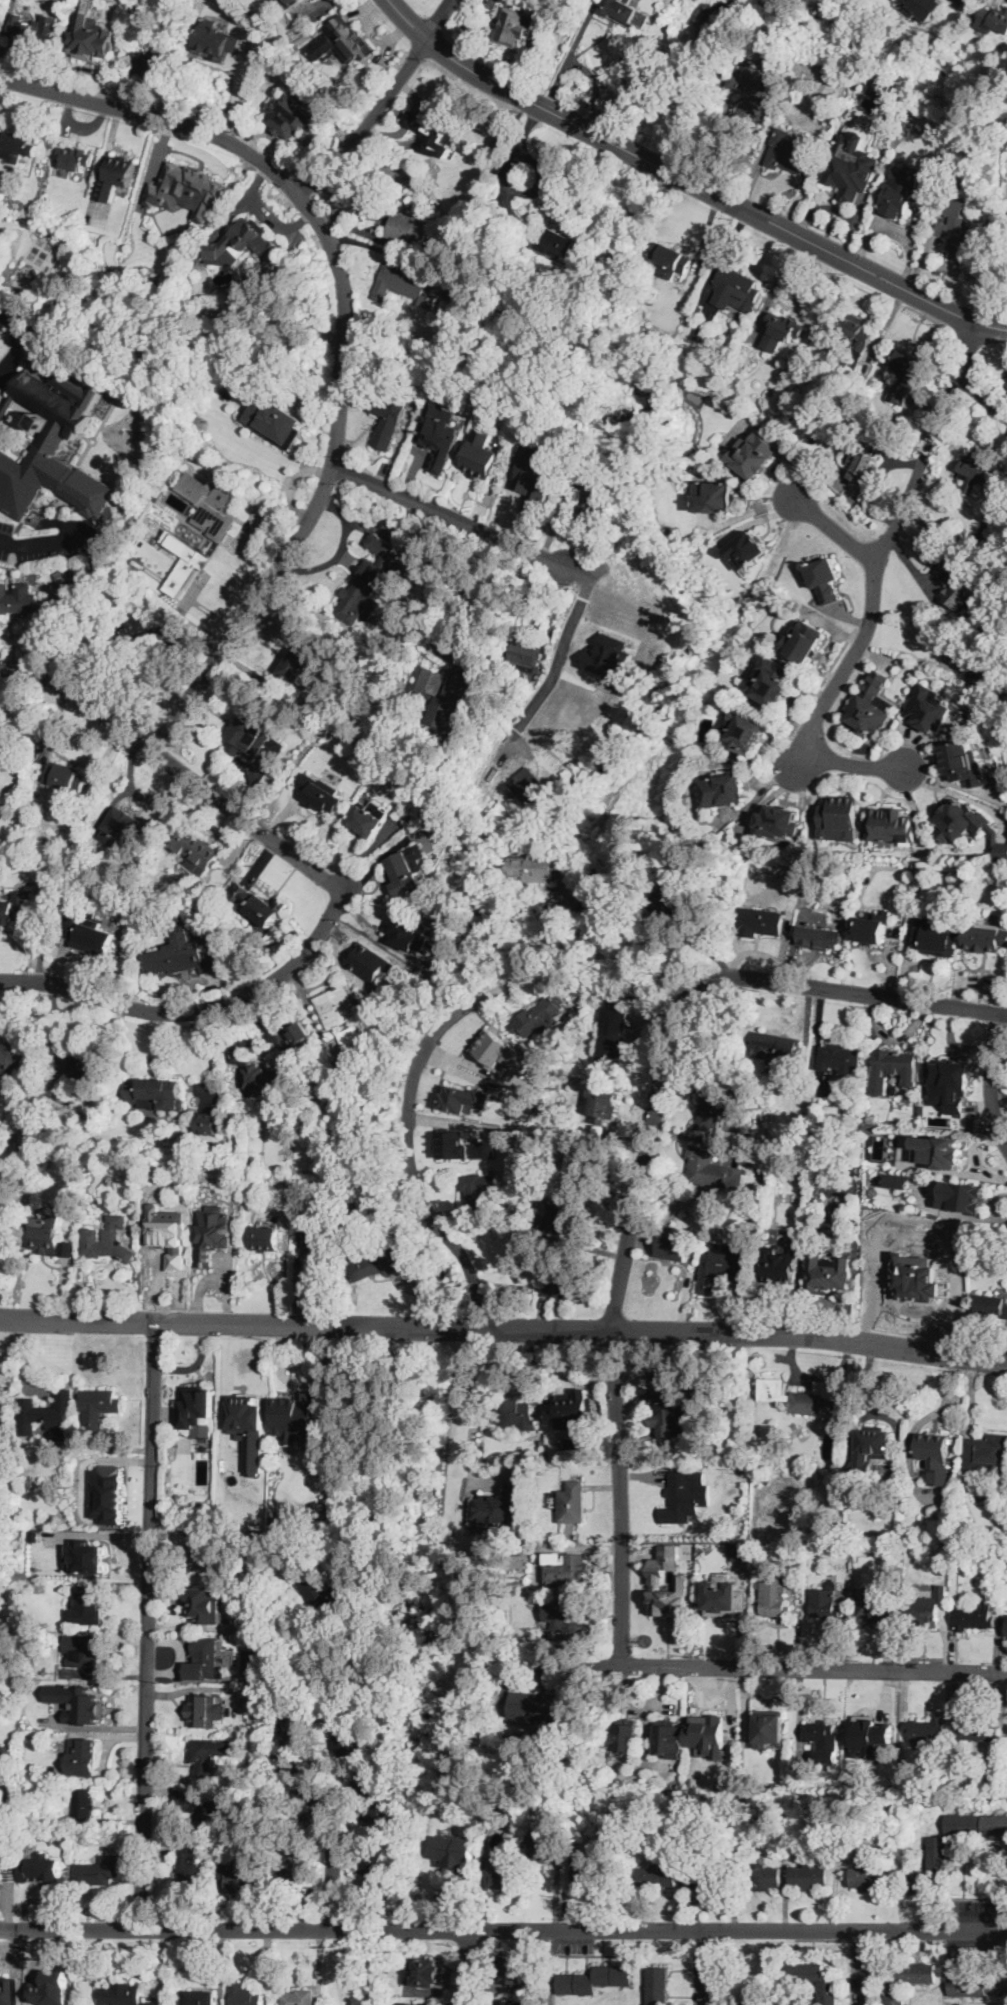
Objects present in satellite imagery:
building: (0, 0)
building: (289, 3)
building: (926, 7)
building: (625, 12)
building: (993, 19)
road: (407, 20)
road: (439, 20)
building: (514, 25)
building: (789, 29)
building: (34, 32)
building: (221, 40)
building: (343, 42)
building: (85, 49)
building: (144, 65)
road: (563, 67)
road: (597, 88)
building: (877, 90)
building: (750, 94)
building: (292, 118)
road: (365, 120)
building: (432, 127)
building: (17, 146)
road: (725, 150)
building: (790, 152)
building: (76, 158)
road: (511, 162)
building: (850, 166)
building: (118, 178)
road: (542, 180)
road: (712, 194)
building: (897, 195)
building: (193, 199)
building: (921, 204)
building: (957, 227)
building: (410, 228)
building: (189, 241)
building: (243, 241)
building: (554, 243)
road: (723, 253)
building: (436, 257)
building: (670, 259)
building: (28, 270)
building: (408, 285)
road: (776, 285)
building: (735, 288)
building: (451, 289)
building: (653, 293)
building: (459, 302)
road: (347, 330)
building: (703, 330)
building: (645, 331)
building: (782, 331)
building: (735, 333)
building: (851, 337)
road: (16, 342)
building: (721, 342)
building: (905, 376)
road: (970, 376)
building: (835, 381)
building: (159, 410)
building: (275, 419)
building: (389, 420)
building: (439, 432)
building: (43, 439)
building: (481, 453)
building: (754, 455)
building: (863, 463)
building: (536, 478)
building: (982, 479)
building: (589, 495)
building: (715, 497)
building: (218, 512)
road: (832, 529)
road: (947, 534)
road: (5, 543)
building: (747, 549)
building: (56, 553)
building: (64, 553)
road: (878, 555)
road: (542, 556)
building: (184, 560)
building: (74, 569)
road: (84, 574)
building: (127, 577)
building: (370, 577)
building: (824, 578)
building: (967, 588)
road: (486, 594)
building: (13, 600)
road: (939, 611)
building: (143, 633)
building: (803, 641)
building: (391, 651)
building: (525, 654)
building: (608, 655)
road: (833, 663)
building: (298, 667)
building: (995, 678)
building: (772, 681)
building: (445, 697)
building: (872, 705)
building: (992, 705)
building: (930, 707)
building: (745, 731)
building: (250, 735)
building: (964, 763)
road: (858, 764)
road: (176, 767)
building: (66, 777)
building: (724, 790)
building: (534, 792)
building: (320, 793)
road: (961, 795)
building: (490, 815)
building: (840, 817)
building: (367, 821)
building: (778, 822)
building: (438, 823)
building: (891, 825)
building: (967, 825)
building: (120, 826)
building: (197, 850)
building: (535, 867)
building: (404, 872)
building: (257, 904)
building: (670, 905)
building: (13, 912)
building: (761, 922)
building: (873, 926)
building: (87, 934)
building: (406, 934)
building: (820, 938)
building: (985, 938)
building: (934, 939)
building: (179, 958)
road: (194, 1008)
building: (342, 1014)
building: (540, 1015)
building: (612, 1035)
building: (778, 1045)
building: (501, 1051)
road: (209, 1054)
building: (11, 1057)
building: (839, 1059)
building: (769, 1067)
building: (892, 1068)
building: (89, 1070)
building: (346, 1073)
building: (299, 1074)
building: (263, 1077)
road: (991, 1077)
building: (949, 1084)
building: (153, 1090)
building: (463, 1098)
building: (329, 1102)
building: (602, 1105)
road: (404, 1110)
building: (710, 1111)
building: (878, 1114)
building: (208, 1122)
building: (870, 1129)
building: (463, 1146)
building: (938, 1150)
building: (581, 1163)
building: (829, 1165)
road: (642, 1170)
building: (712, 1170)
building: (900, 1180)
building: (478, 1192)
building: (962, 1196)
building: (354, 1206)
building: (558, 1212)
building: (315, 1232)
building: (1, 1233)
building: (47, 1237)
building: (264, 1239)
building: (108, 1241)
building: (215, 1245)
building: (670, 1247)
building: (163, 1249)
building: (983, 1259)
building: (373, 1263)
building: (723, 1265)
building: (779, 1265)
building: (828, 1272)
building: (559, 1282)
building: (993, 1305)
road: (504, 1330)
road: (225, 1378)
building: (805, 1400)
building: (665, 1404)
building: (99, 1406)
building: (197, 1406)
road: (474, 1407)
building: (572, 1410)
building: (248, 1413)
building: (297, 1414)
building: (49, 1415)
building: (518, 1415)
building: (541, 1442)
building: (871, 1451)
building: (986, 1453)
building: (935, 1456)
building: (1003, 1477)
building: (102, 1494)
building: (684, 1495)
building: (571, 1502)
building: (500, 1504)
building: (9, 1541)
building: (791, 1547)
building: (843, 1550)
building: (740, 1551)
building: (90, 1555)
building: (208, 1556)
building: (909, 1556)
building: (4, 1558)
building: (565, 1568)
building: (655, 1579)
building: (323, 1596)
building: (721, 1596)
building: (775, 1597)
building: (210, 1602)
building: (825, 1604)
building: (879, 1606)
building: (85, 1607)
building: (927, 1609)
building: (975, 1617)
building: (568, 1619)
road: (150, 1626)
building: (1006, 1632)
building: (547, 1636)
building: (31, 1639)
building: (85, 1651)
building: (206, 1659)
road: (816, 1670)
building: (2, 1676)
building: (316, 1676)
road: (195, 1687)
building: (202, 1706)
building: (82, 1707)
building: (539, 1709)
building: (32, 1719)
building: (343, 1727)
building: (255, 1728)
building: (770, 1728)
building: (976, 1729)
building: (926, 1730)
building: (707, 1735)
building: (624, 1736)
building: (870, 1736)
building: (670, 1738)
building: (824, 1740)
building: (9, 1753)
building: (208, 1754)
building: (83, 1757)
building: (21, 1774)
road: (295, 1778)
building: (926, 1790)
building: (8, 1797)
building: (370, 1797)
building: (84, 1804)
building: (211, 1805)
building: (507, 1809)
building: (976, 1823)
building: (3, 1824)
building: (258, 1845)
building: (542, 1845)
building: (457, 1852)
building: (372, 1860)
road: (330, 1862)
building: (931, 1865)
building: (41, 1869)
building: (189, 1870)
building: (291, 1870)
building: (98, 1871)
building: (585, 1873)
building: (241, 1874)
building: (504, 1876)
building: (657, 1877)
building: (708, 1877)
building: (763, 1877)
building: (809, 1877)
building: (870, 1878)
road: (503, 1930)
road: (465, 1967)
road: (704, 1967)
road: (863, 1967)
building: (511, 1971)
building: (427, 1972)
road: (714, 1972)
building: (595, 1980)
building: (908, 1980)
building: (977, 1984)
building: (657, 1986)
building: (52, 1988)
building: (828, 1992)
building: (121, 1994)
building: (245, 1995)
building: (20, 1996)
building: (198, 1997)
building: (299, 1997)
building: (513, 2003)
building: (416, 2004)
building: (742, 2004)

